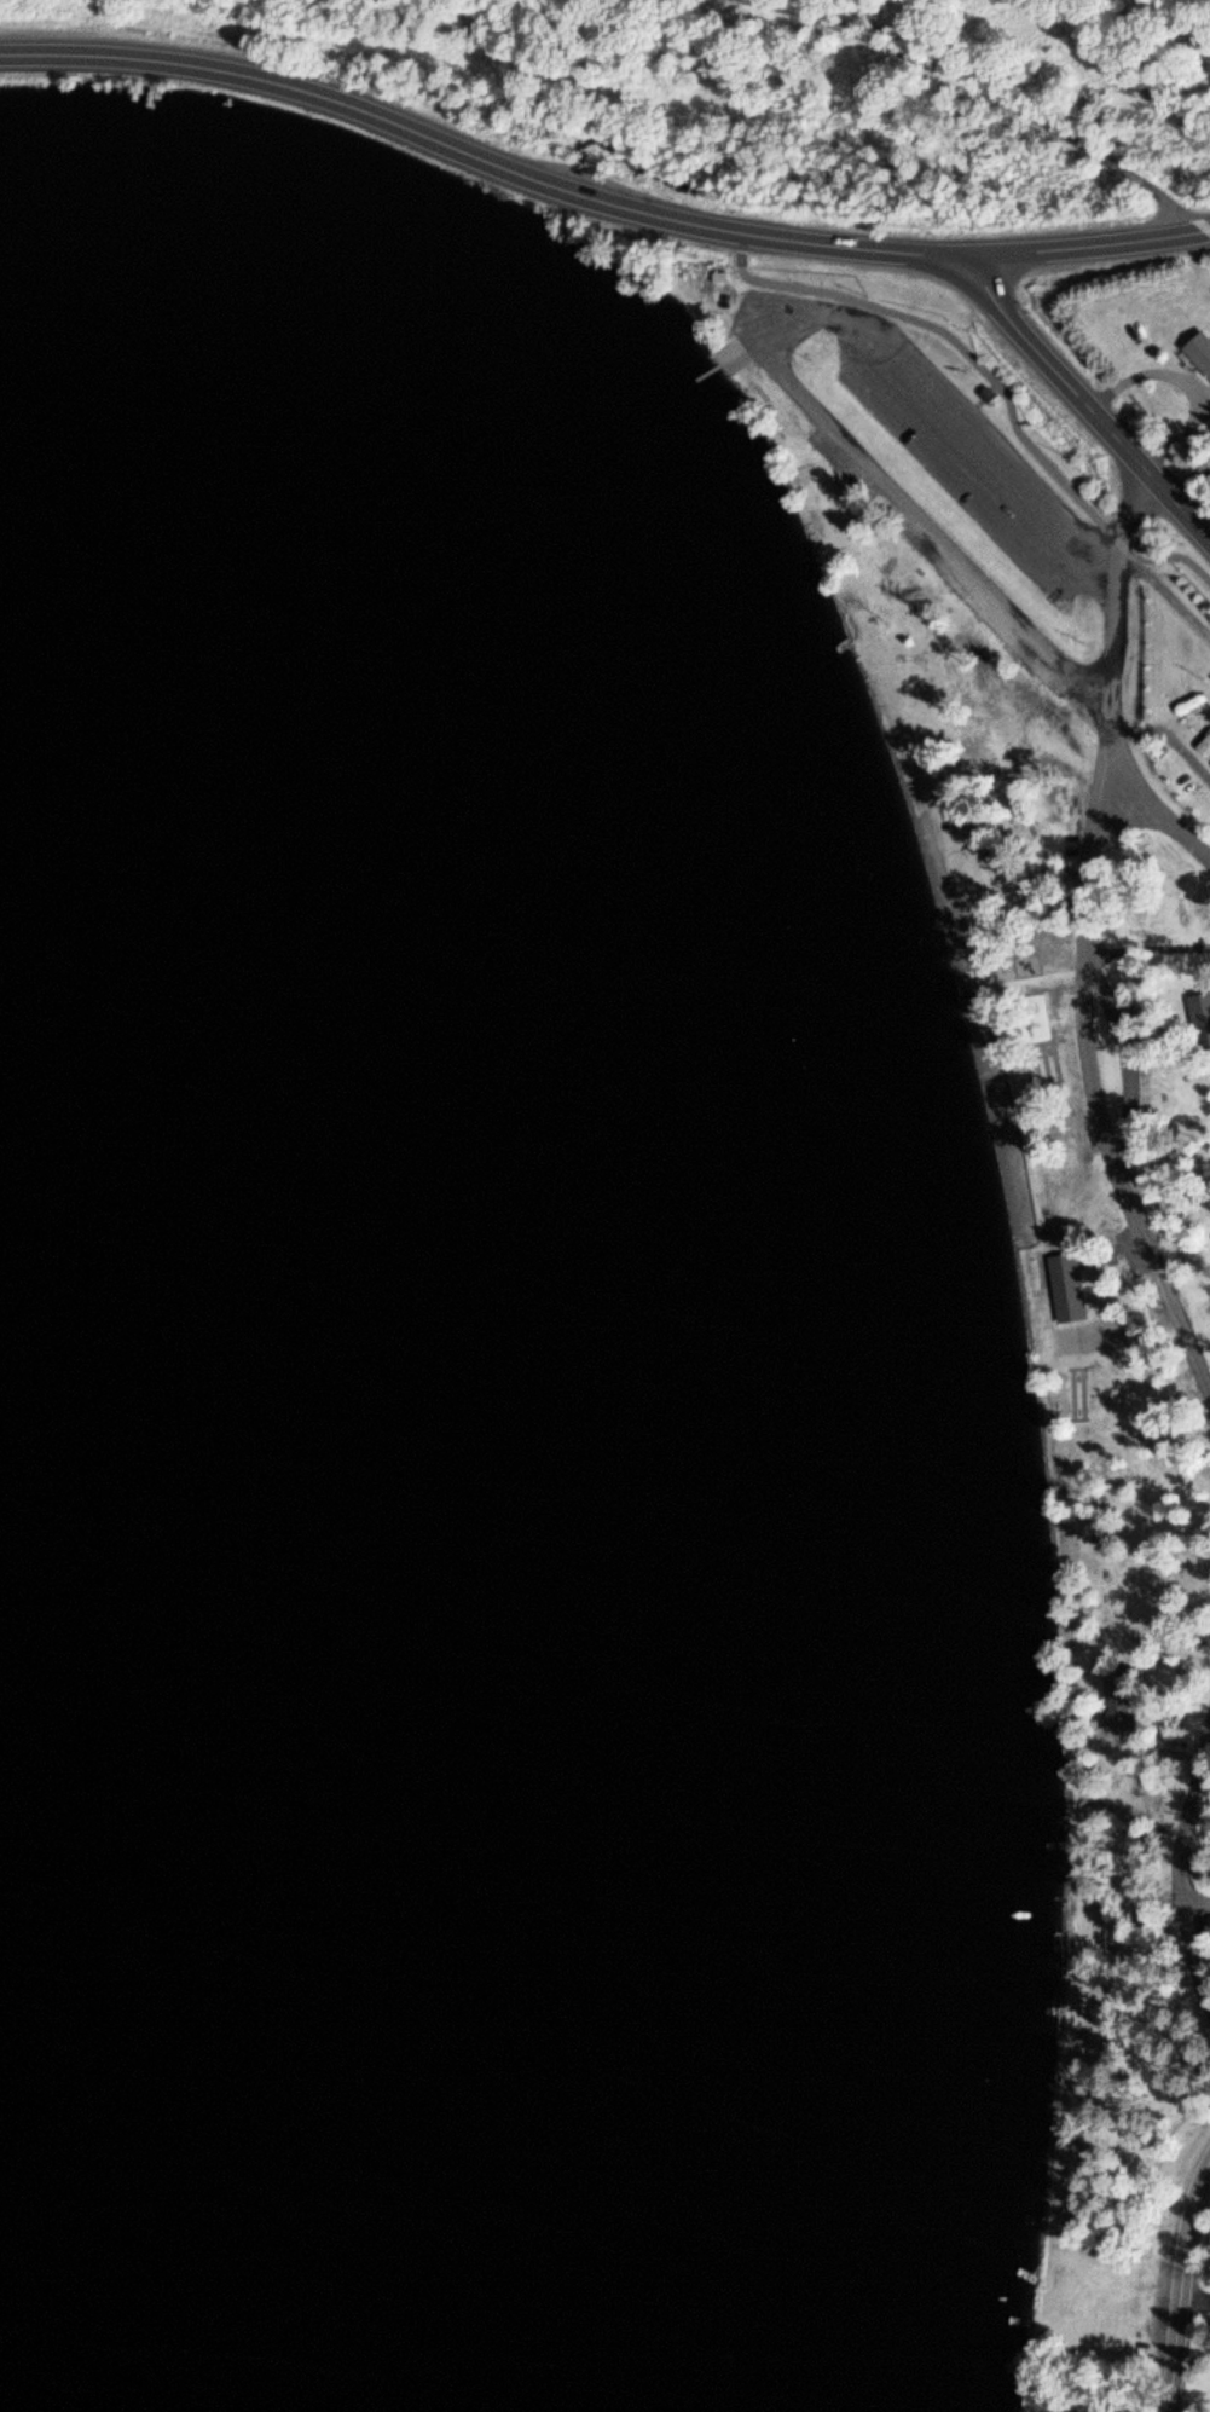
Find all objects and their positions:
road: (376, 114)
road: (1084, 243)
road: (850, 245)
road: (763, 343)
road: (733, 349)
building: (1197, 351)
road: (992, 381)
road: (1081, 404)
parking lot: (969, 463)
road: (1108, 696)
building: (1198, 1010)
road: (1095, 1103)
park: (1048, 1106)
building: (1065, 1285)
building: (1118, 1697)
road: (1181, 1867)
road: (1194, 1903)
road: (1179, 2284)

